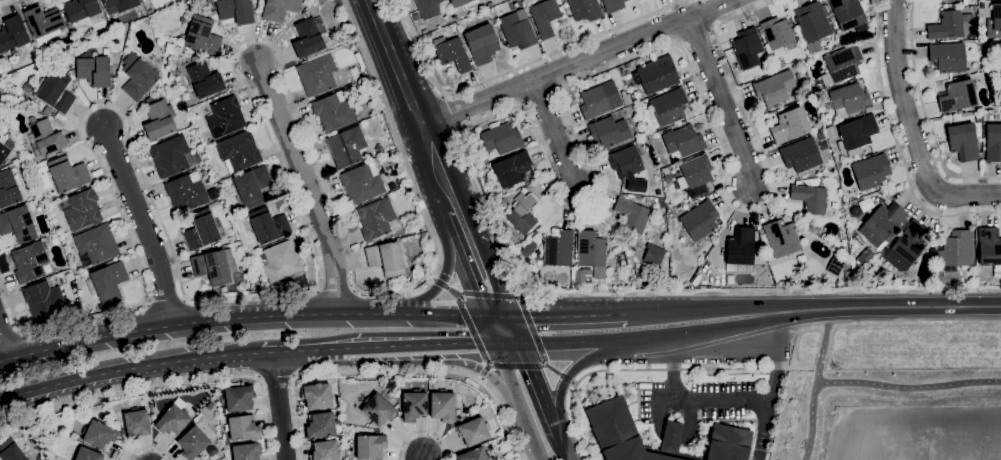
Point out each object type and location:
building: (178, 0)
road: (6, 2)
building: (462, 2)
building: (119, 5)
building: (613, 5)
building: (279, 8)
building: (428, 8)
building: (585, 9)
building: (81, 10)
building: (236, 10)
building: (150, 11)
building: (306, 14)
building: (848, 14)
building: (416, 16)
building: (545, 17)
building: (183, 19)
building: (44, 21)
building: (994, 22)
building: (813, 24)
building: (946, 25)
building: (518, 28)
building: (13, 33)
building: (429, 34)
building: (779, 34)
building: (202, 35)
building: (308, 38)
building: (172, 39)
building: (482, 44)
building: (747, 48)
building: (452, 53)
building: (948, 56)
road: (576, 63)
building: (841, 64)
road: (517, 68)
building: (94, 70)
building: (354, 70)
building: (317, 73)
building: (657, 74)
building: (138, 77)
building: (204, 79)
building: (774, 87)
building: (56, 91)
building: (957, 96)
building: (626, 99)
road: (723, 99)
building: (600, 100)
building: (849, 100)
road: (412, 105)
building: (665, 108)
building: (46, 110)
building: (334, 110)
road: (453, 113)
road: (924, 115)
building: (225, 117)
building: (978, 118)
building: (159, 119)
building: (790, 123)
road: (914, 130)
building: (609, 131)
building: (830, 133)
building: (856, 133)
road: (555, 135)
building: (46, 138)
building: (501, 138)
building: (963, 141)
building: (683, 142)
building: (993, 142)
road: (898, 144)
building: (346, 146)
building: (5, 149)
building: (239, 151)
building: (801, 155)
building: (170, 156)
building: (625, 161)
building: (512, 169)
building: (696, 171)
building: (871, 171)
building: (67, 174)
building: (668, 177)
road: (551, 178)
building: (362, 183)
building: (252, 185)
road: (308, 185)
building: (8, 189)
building: (186, 192)
building: (810, 198)
road: (298, 207)
building: (83, 209)
building: (632, 215)
building: (522, 216)
building: (376, 217)
building: (662, 218)
building: (700, 220)
building: (885, 220)
road: (143, 222)
building: (18, 224)
building: (268, 225)
building: (201, 229)
building: (533, 233)
road: (465, 234)
building: (782, 238)
building: (910, 242)
building: (96, 244)
building: (558, 247)
building: (528, 248)
building: (989, 248)
building: (957, 249)
building: (740, 250)
building: (592, 251)
building: (844, 251)
building: (865, 256)
building: (386, 258)
building: (280, 260)
building: (29, 261)
building: (837, 265)
building: (212, 267)
building: (848, 274)
road: (443, 277)
building: (697, 278)
building: (109, 281)
road: (488, 287)
building: (222, 289)
road: (525, 293)
building: (43, 299)
road: (897, 306)
road: (706, 308)
road: (790, 310)
road: (563, 316)
traffic signals: (500, 317)
road: (247, 318)
road: (504, 330)
road: (694, 332)
road: (553, 341)
road: (472, 343)
traffic signals: (509, 343)
road: (825, 345)
road: (370, 346)
road: (3, 347)
road: (284, 350)
road: (129, 367)
road: (655, 369)
road: (486, 370)
road: (390, 372)
building: (711, 372)
road: (276, 378)
road: (569, 378)
road: (869, 382)
road: (776, 384)
road: (169, 385)
building: (316, 396)
road: (530, 396)
park: (892, 397)
building: (239, 398)
road: (691, 401)
building: (151, 402)
road: (279, 405)
building: (414, 405)
building: (443, 405)
building: (378, 409)
building: (173, 420)
building: (137, 423)
building: (320, 425)
building: (243, 427)
building: (614, 429)
building: (473, 431)
road: (423, 432)
building: (99, 434)
building: (193, 442)
building: (370, 446)
road: (149, 449)
building: (324, 450)
building: (11, 451)
building: (247, 451)
building: (88, 454)
building: (474, 454)
road: (554, 455)
building: (39, 457)
road: (424, 457)

